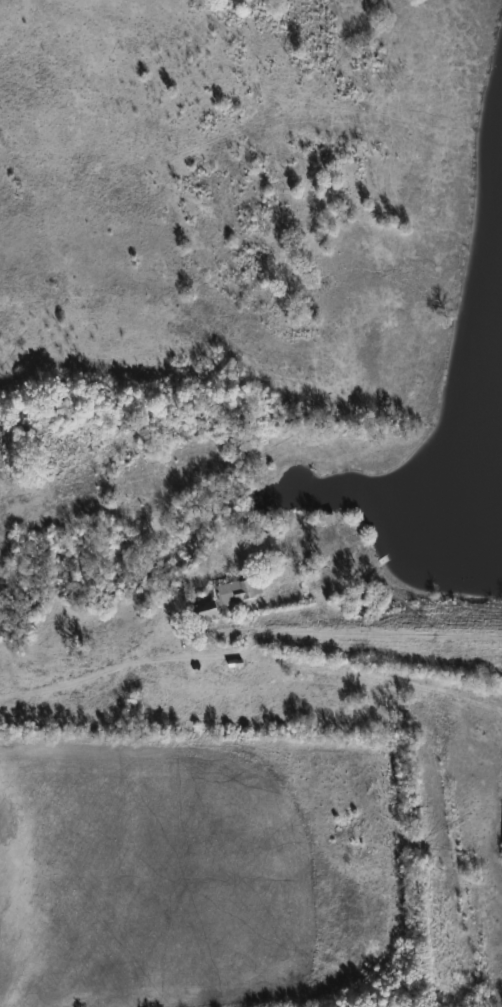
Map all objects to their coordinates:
building: (238, 590)
building: (201, 612)
road: (251, 656)

